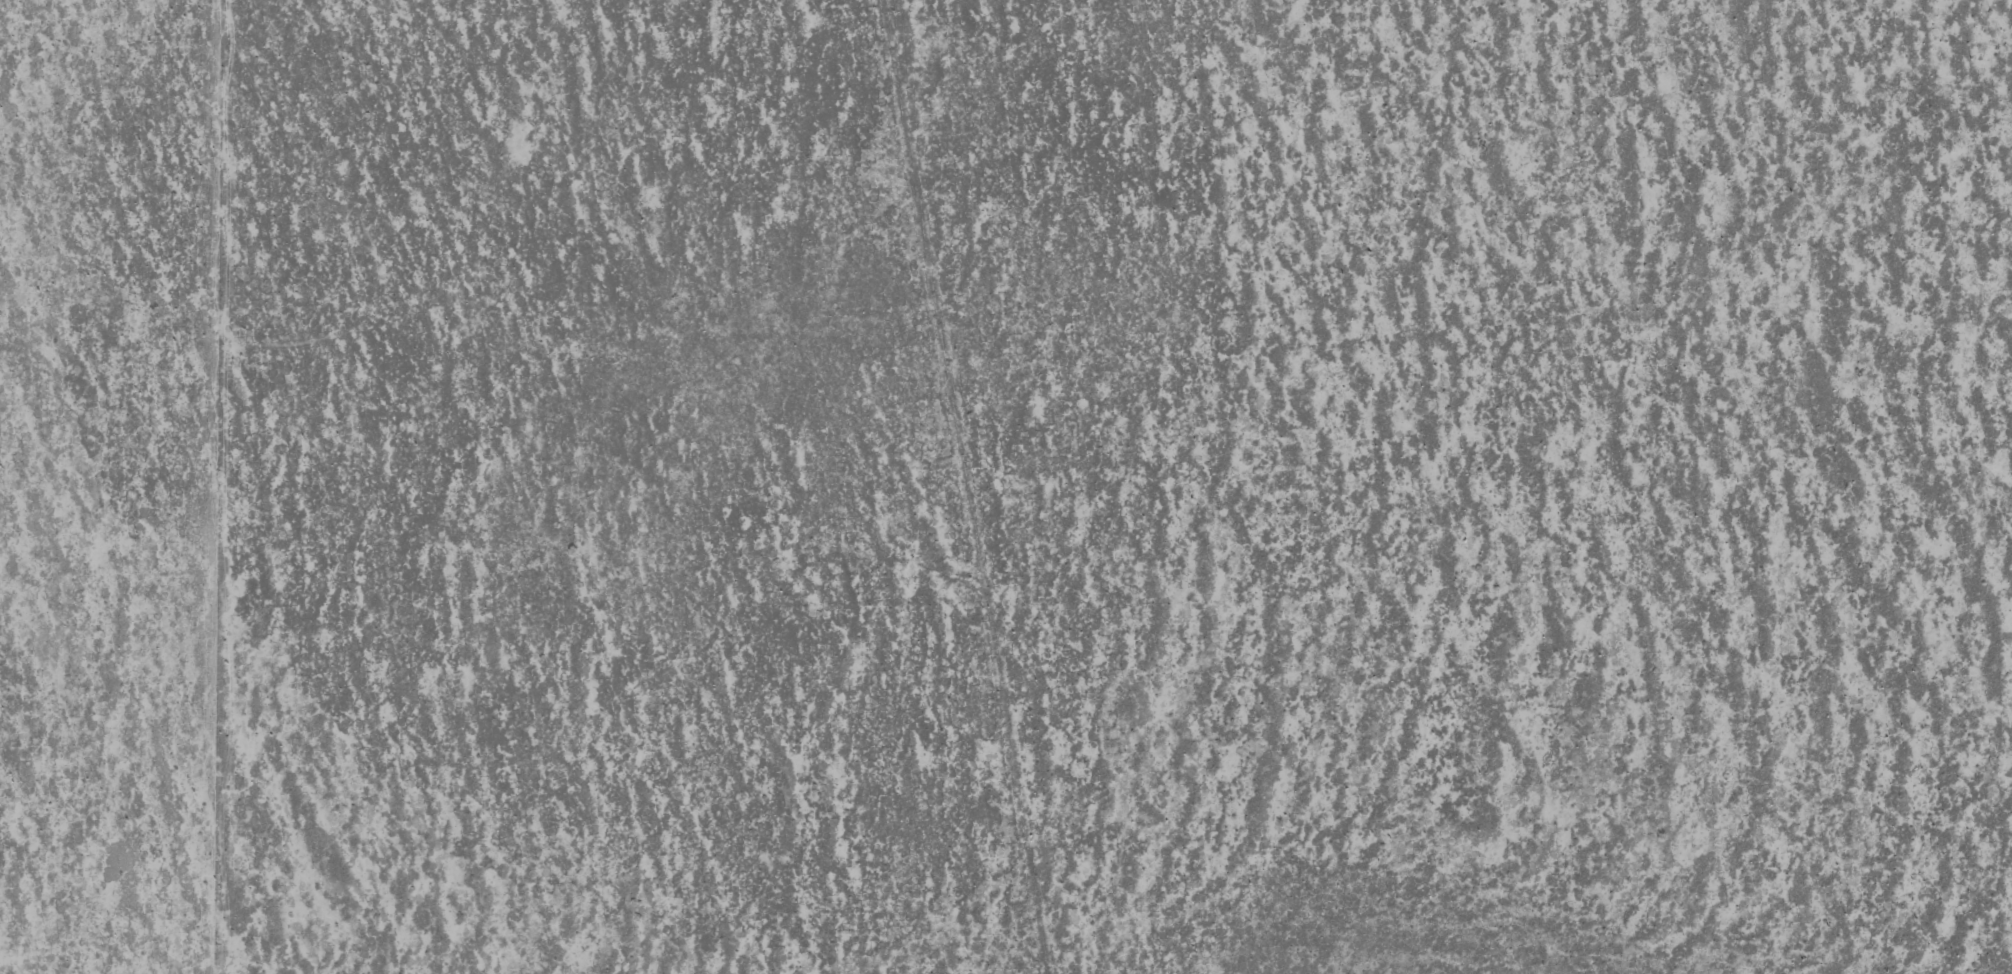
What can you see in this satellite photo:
road: (948, 486)

